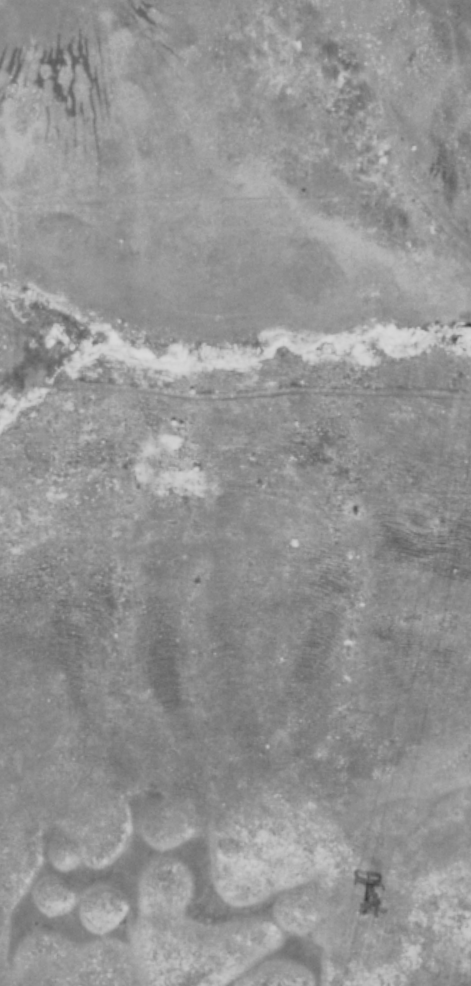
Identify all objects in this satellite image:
power tower: (378, 904)

